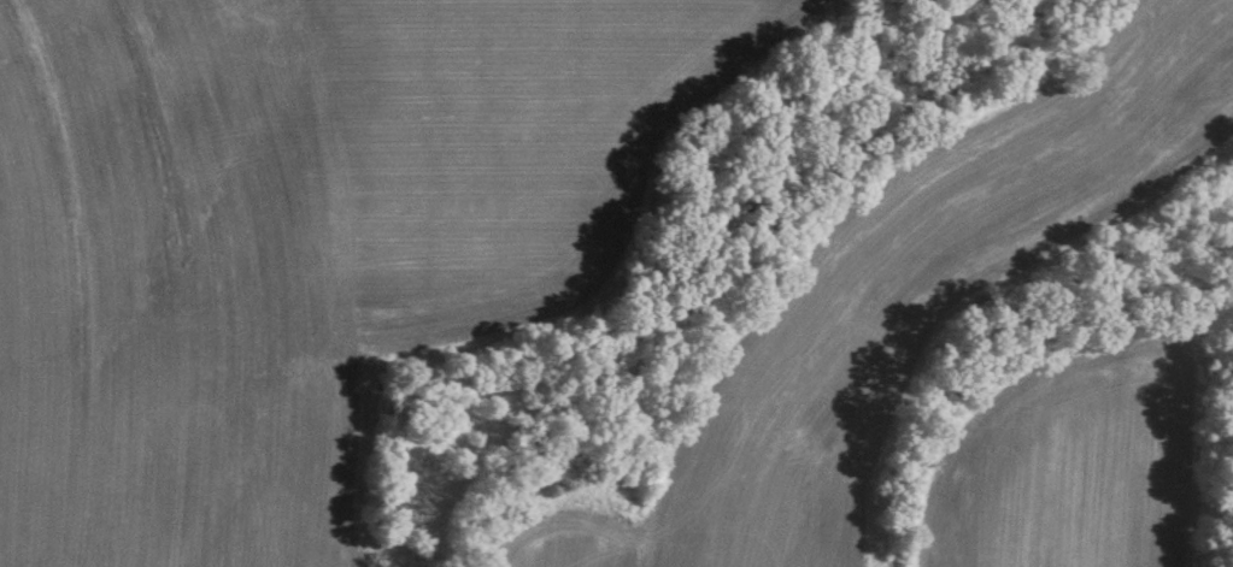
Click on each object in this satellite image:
road: (407, 507)

